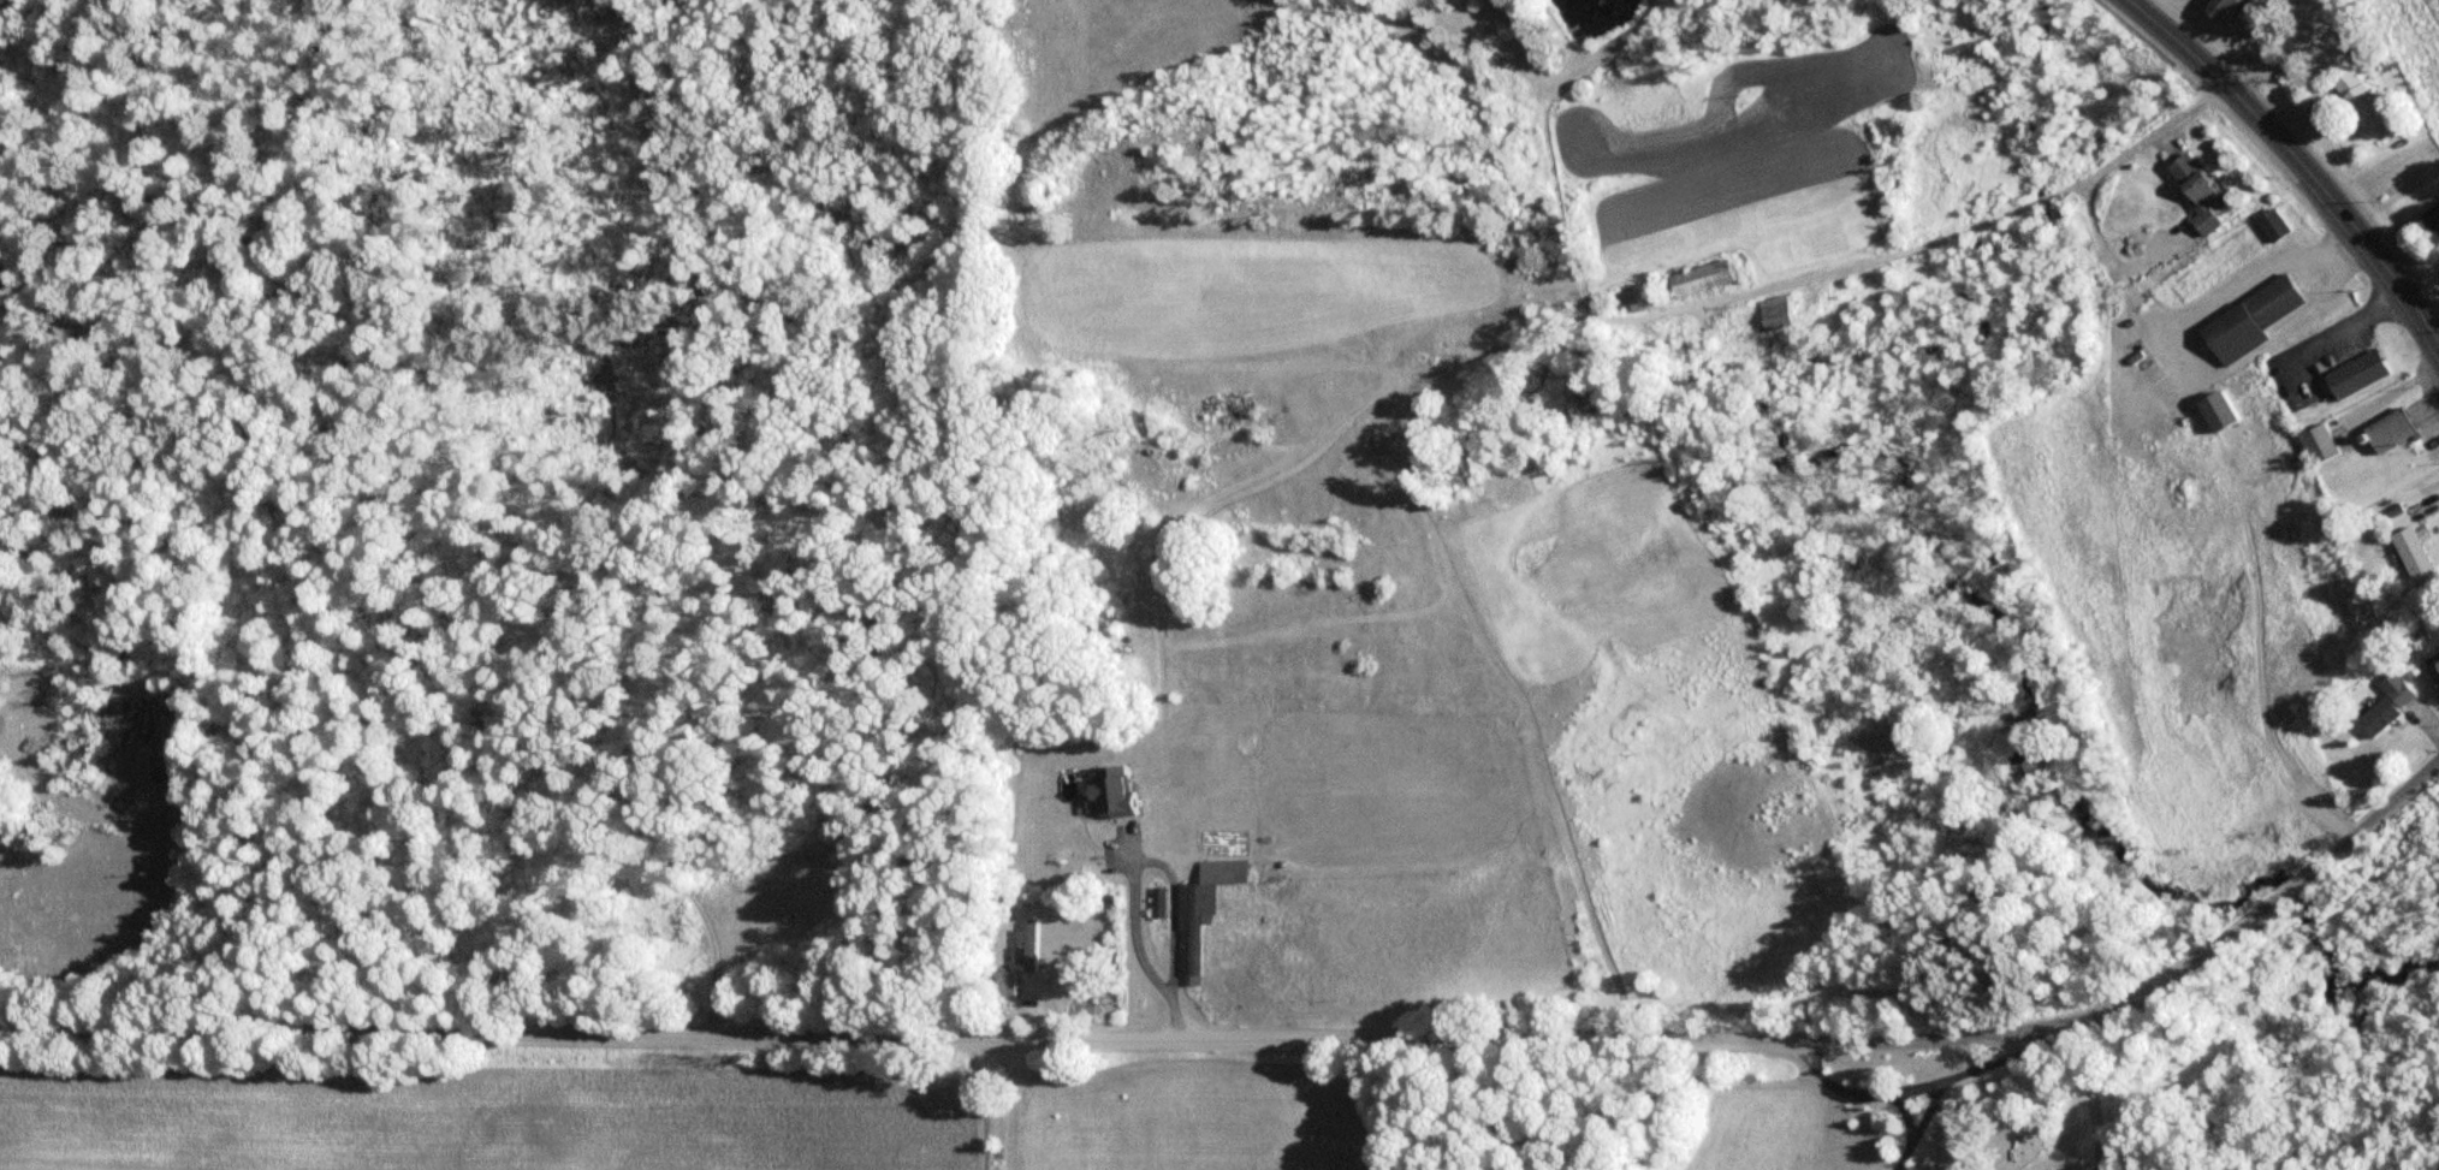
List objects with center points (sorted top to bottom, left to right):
building: (2214, 6)
building: (2361, 103)
road: (2297, 160)
building: (2195, 190)
building: (2271, 220)
road: (1977, 225)
building: (2433, 225)
building: (1707, 284)
building: (1643, 303)
building: (2248, 315)
road: (2189, 316)
building: (1781, 319)
building: (1670, 348)
building: (2357, 375)
road: (2398, 388)
building: (2395, 435)
building: (2321, 450)
building: (2415, 559)
building: (2433, 669)
building: (2396, 687)
building: (2374, 713)
building: (1109, 786)
road: (2301, 878)
building: (1157, 898)
building: (1197, 903)
building: (1025, 940)
building: (1002, 982)
road: (1082, 1039)
road: (1958, 1071)
road: (1861, 1089)
road: (1903, 1112)

